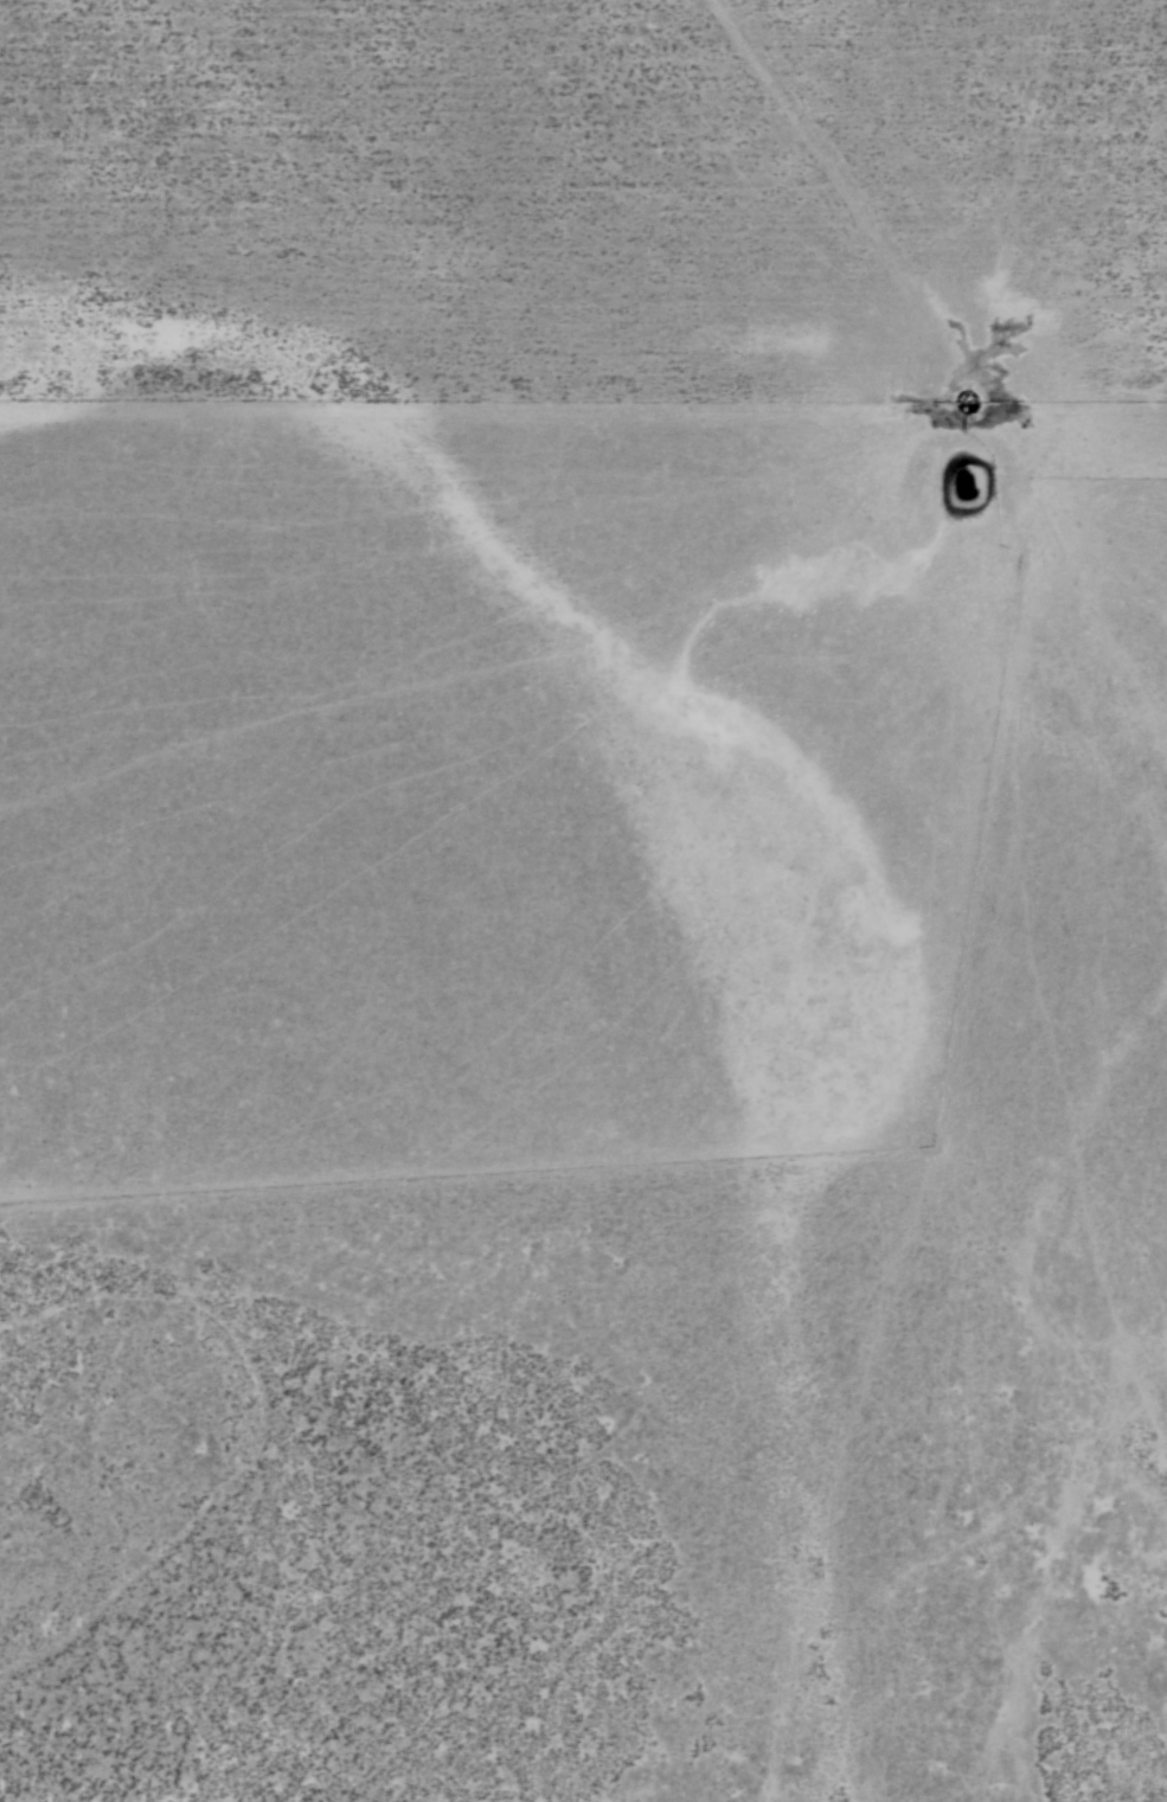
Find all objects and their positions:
road: (852, 163)

